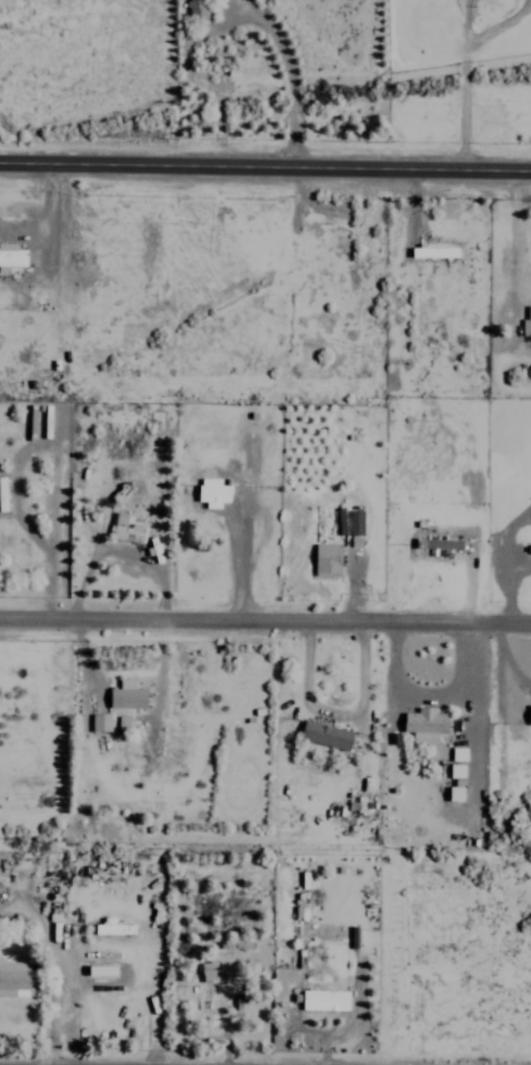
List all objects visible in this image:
building: (197, 10)
road: (265, 164)
building: (433, 252)
building: (526, 323)
building: (212, 492)
building: (2, 494)
building: (355, 523)
building: (126, 529)
building: (442, 543)
building: (327, 560)
road: (265, 614)
building: (126, 696)
building: (529, 714)
building: (100, 722)
building: (122, 724)
building: (423, 725)
building: (325, 735)
building: (458, 754)
building: (455, 793)
building: (112, 927)
building: (16, 979)
building: (215, 983)
building: (324, 1000)

